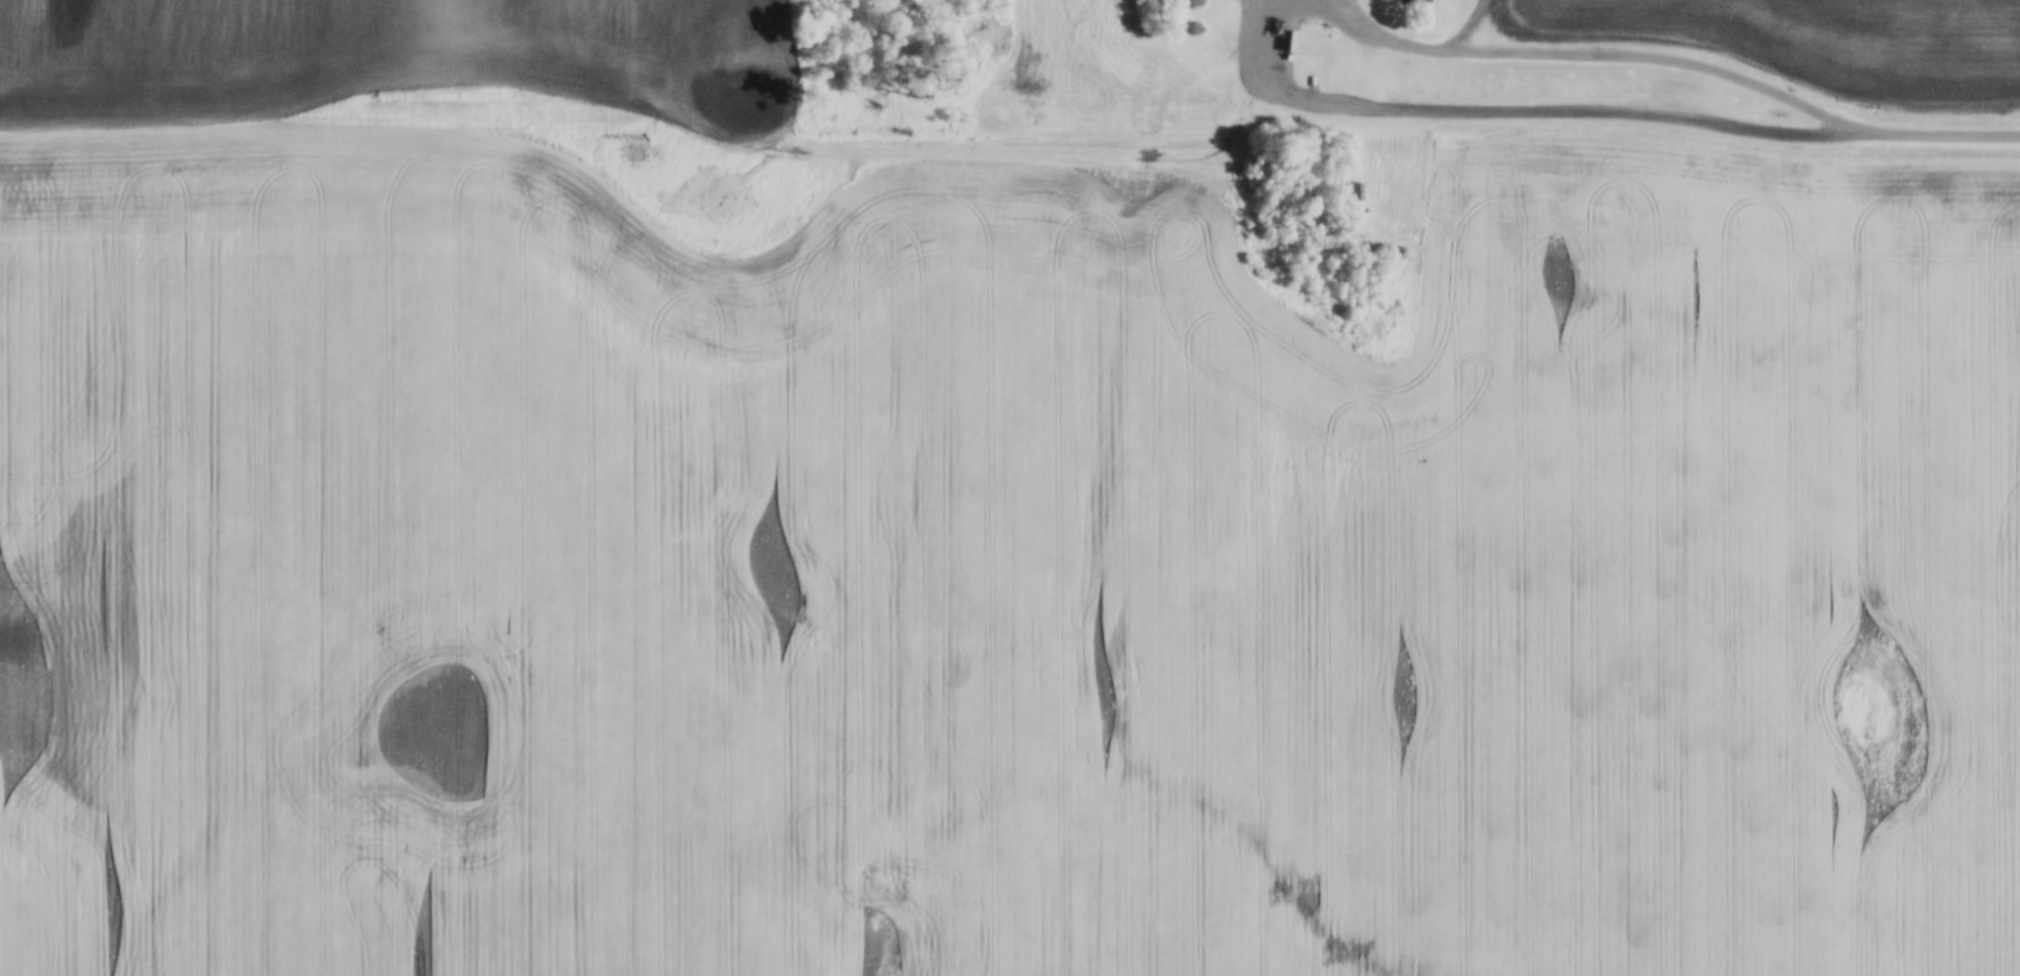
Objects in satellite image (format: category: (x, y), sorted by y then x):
building: (1415, 2)
road: (1677, 63)

